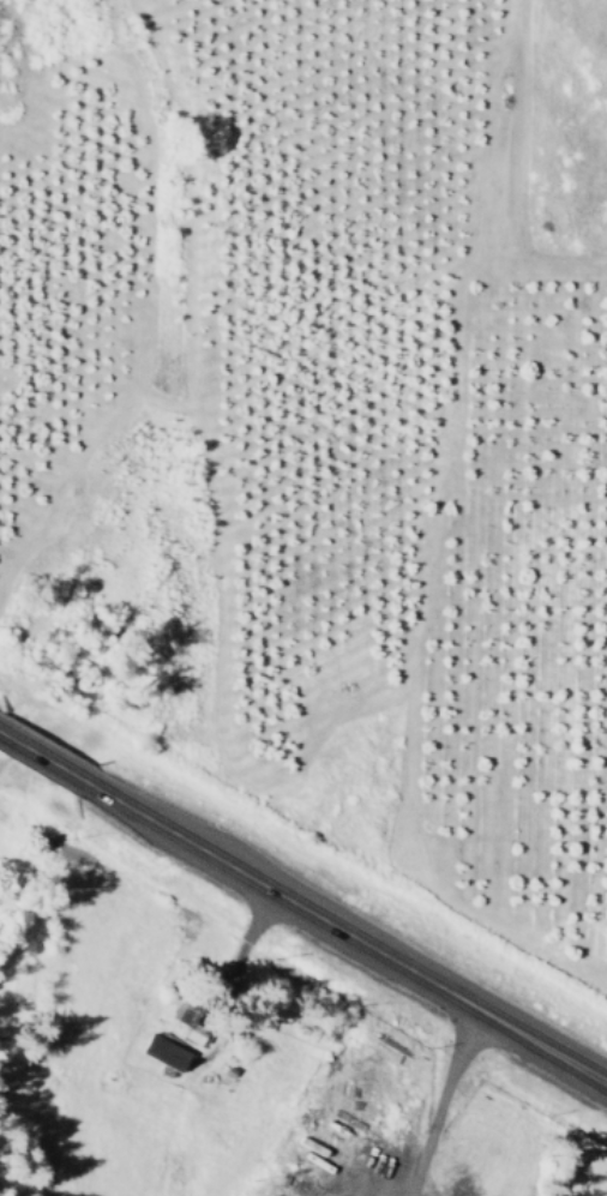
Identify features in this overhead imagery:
road: (303, 910)
building: (157, 1052)

